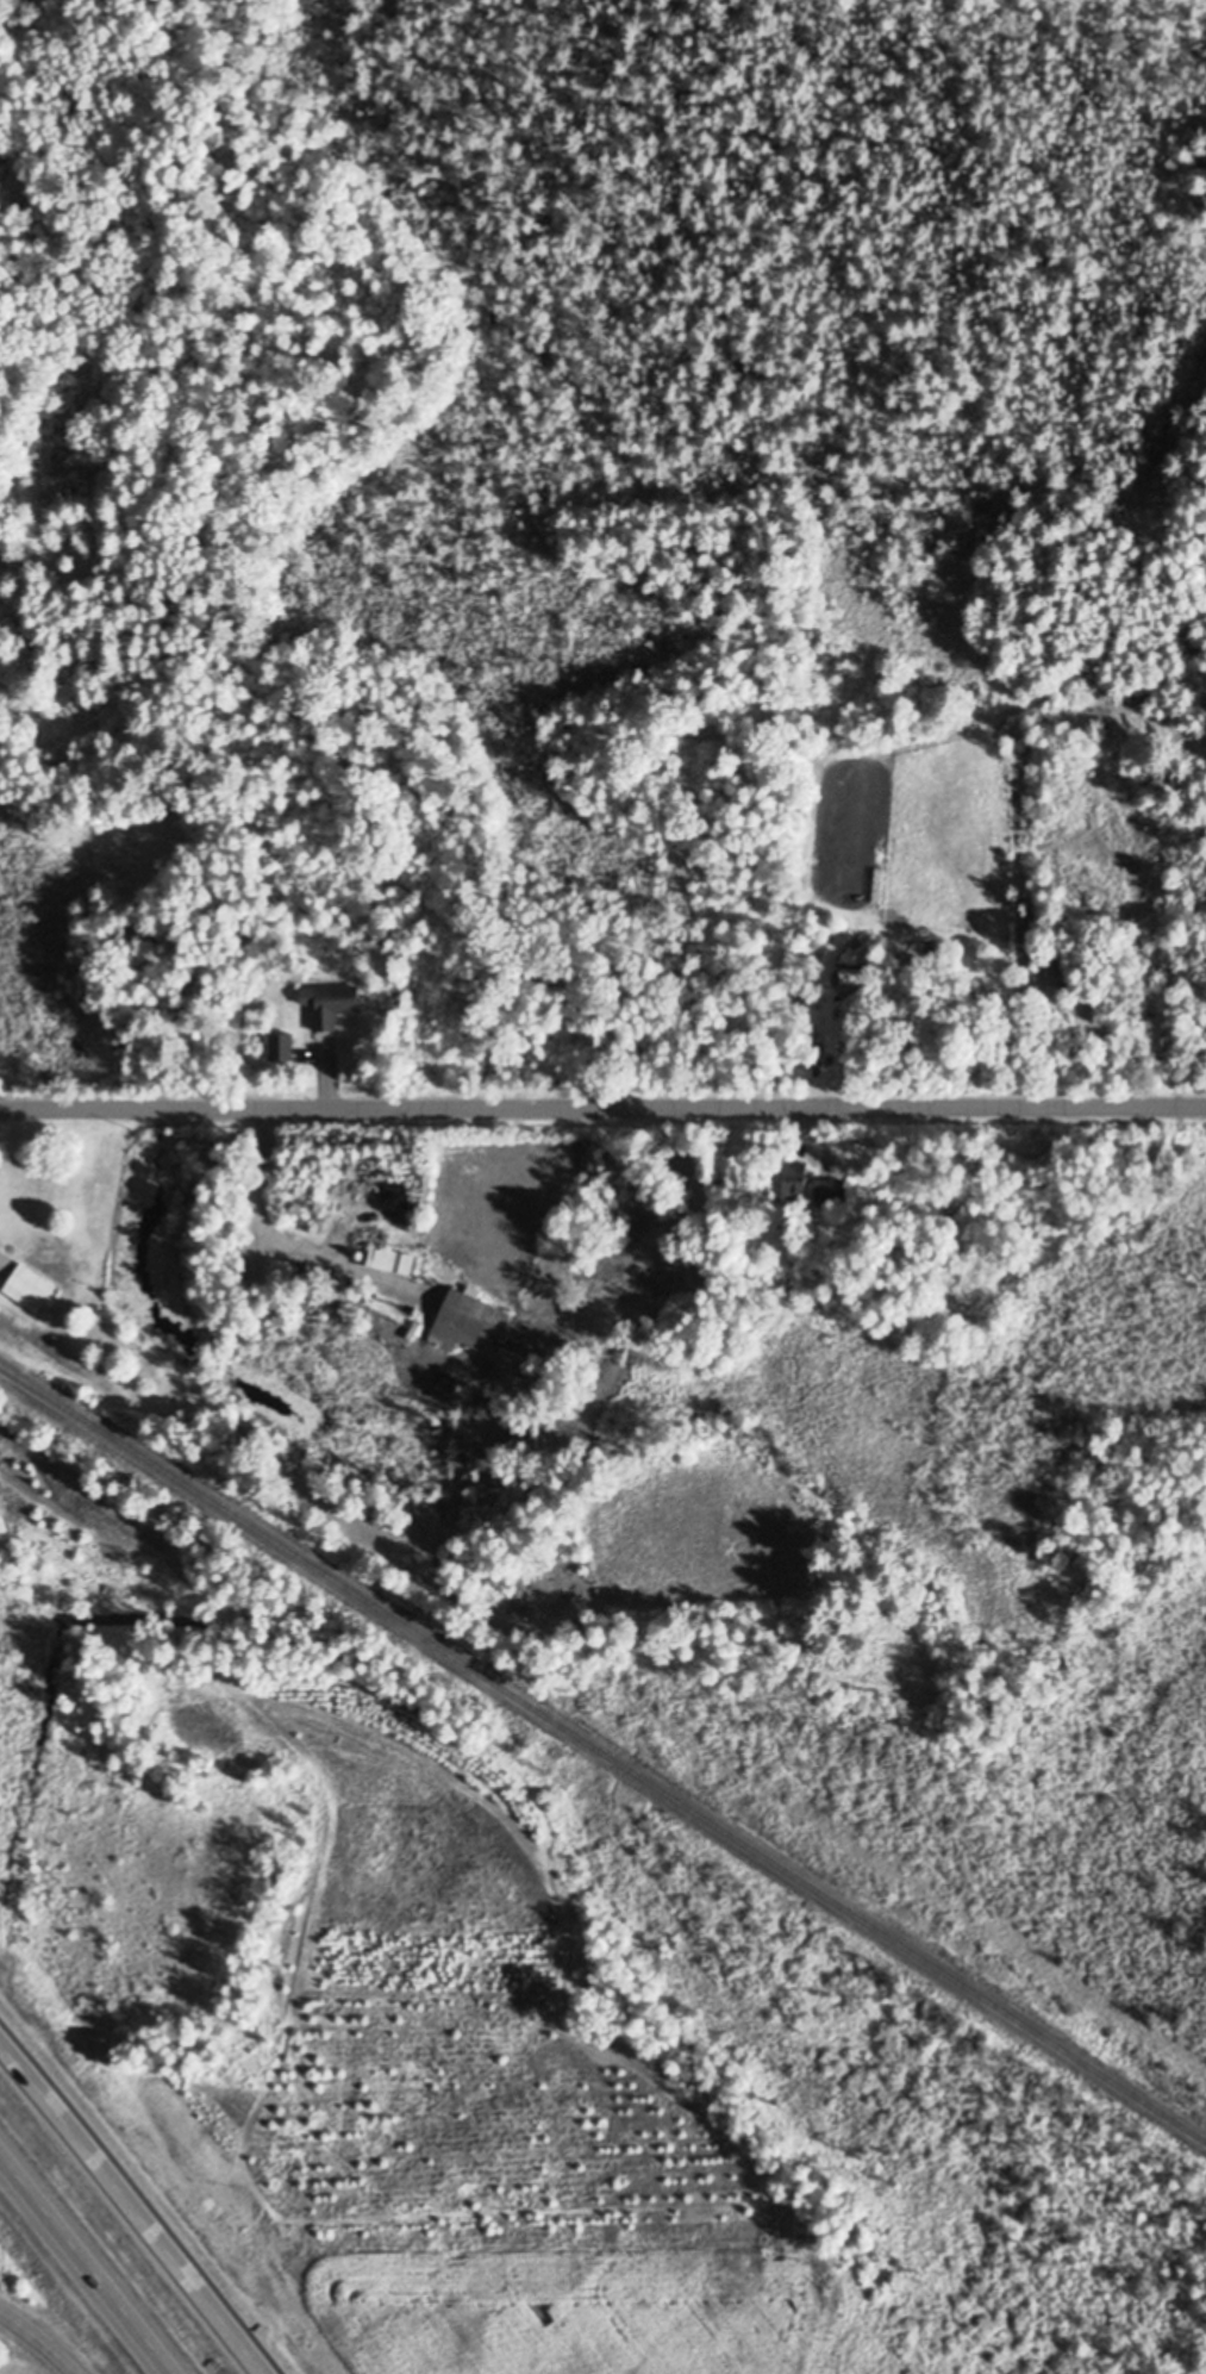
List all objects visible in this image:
building: (854, 974)
building: (336, 1004)
building: (283, 1045)
road: (602, 1107)
building: (796, 1177)
building: (831, 1189)
building: (394, 1259)
building: (286, 1272)
building: (32, 1289)
building: (470, 1323)
building: (192, 1398)
railway: (602, 1753)
road: (133, 2207)
road: (86, 2264)
crop: (562, 2305)
road: (39, 2338)

